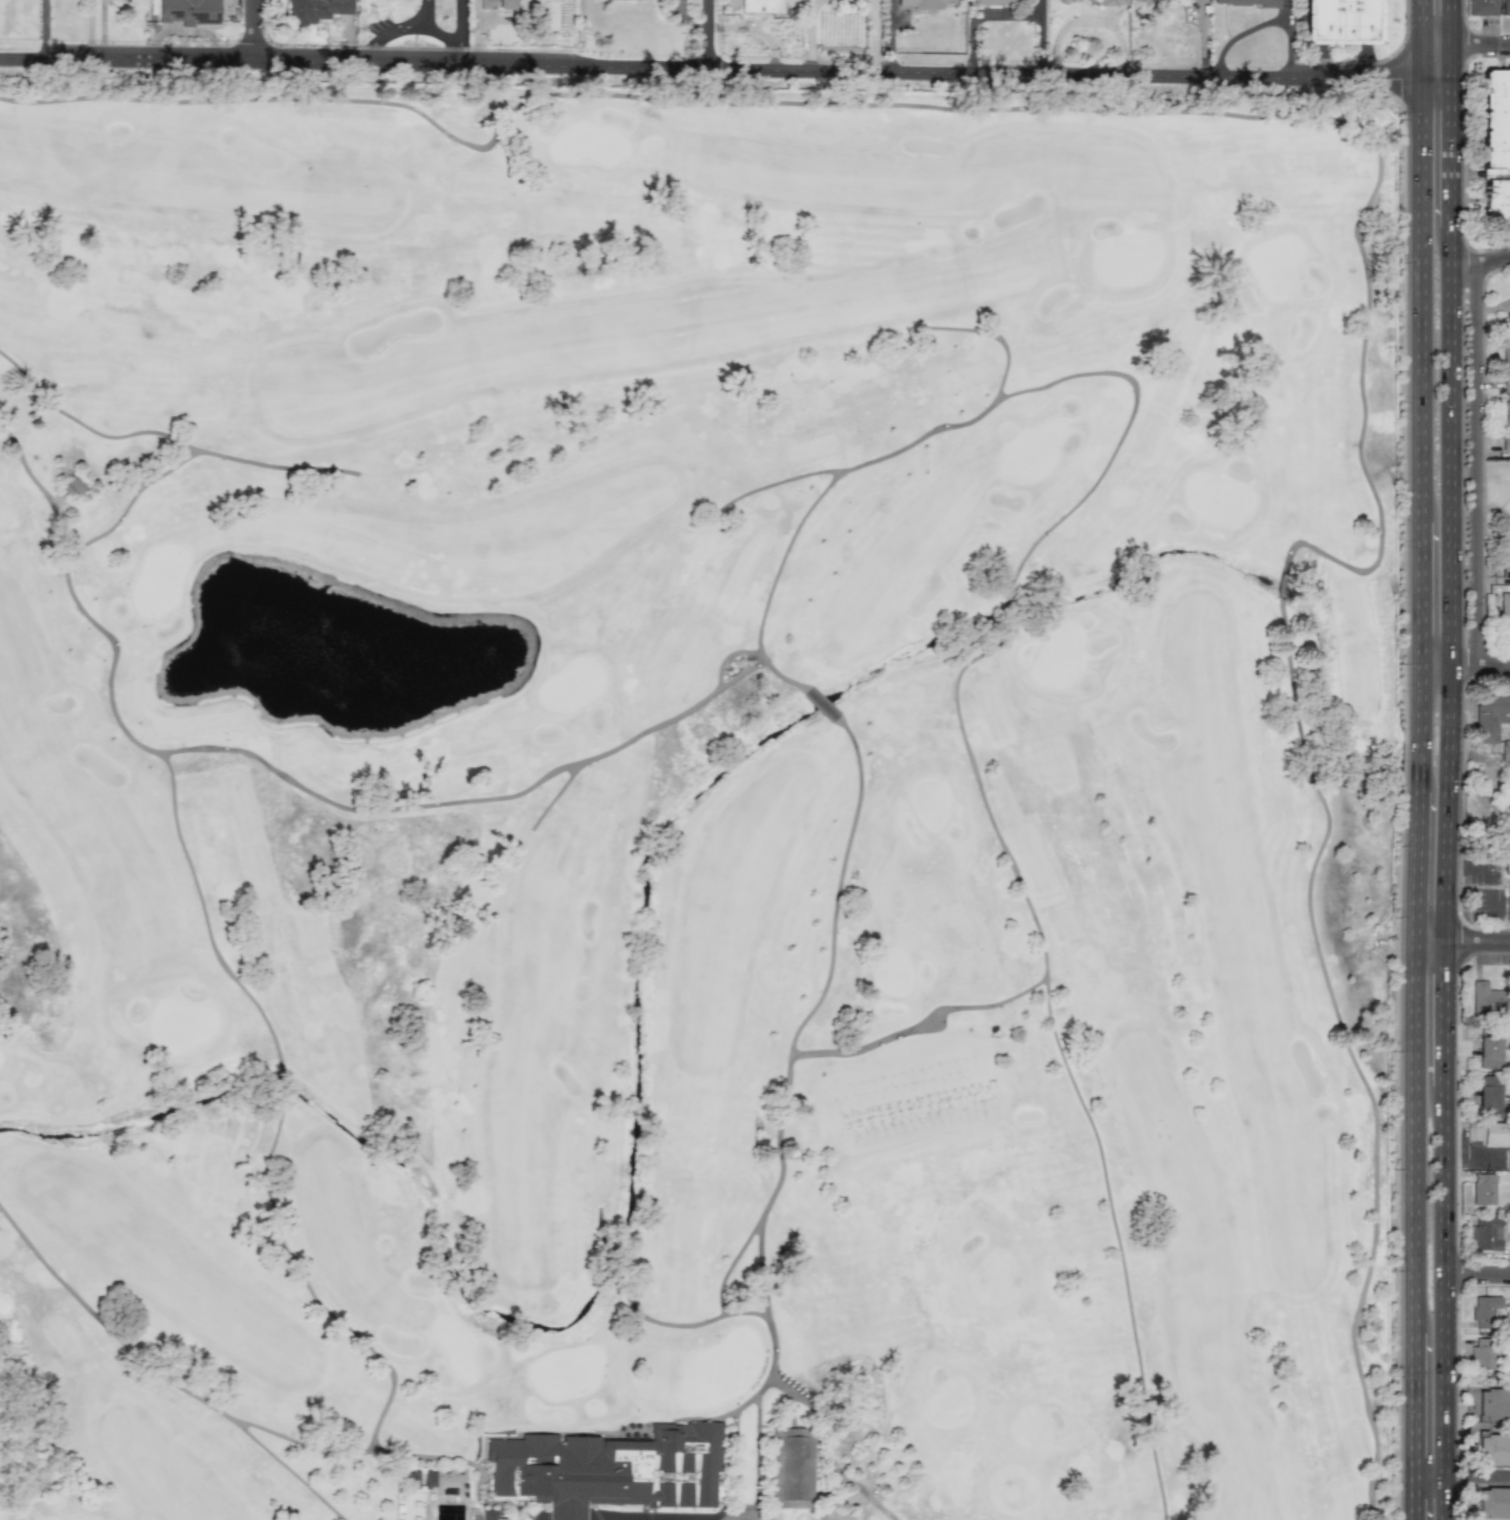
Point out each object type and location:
building: (1070, 0)
building: (1144, 1)
building: (994, 2)
building: (1112, 2)
building: (1250, 2)
building: (495, 3)
building: (924, 3)
building: (761, 6)
building: (1481, 7)
building: (1505, 7)
building: (315, 10)
building: (189, 11)
road: (1418, 20)
road: (1453, 20)
road: (460, 21)
building: (1341, 21)
road: (1264, 23)
road: (407, 26)
road: (44, 30)
road: (252, 32)
road: (810, 34)
road: (709, 35)
road: (875, 35)
road: (1436, 40)
road: (1481, 40)
road: (1323, 51)
road: (460, 54)
road: (371, 55)
road: (1452, 58)
road: (725, 70)
road: (472, 145)
building: (1495, 145)
road: (1452, 152)
road: (1375, 187)
road: (1481, 260)
road: (1417, 279)
building: (1507, 317)
road: (989, 334)
building: (1506, 363)
road: (982, 413)
building: (1509, 428)
road: (165, 435)
road: (1453, 445)
road: (1473, 463)
road: (775, 482)
building: (72, 485)
road: (130, 501)
road: (685, 516)
building: (1505, 553)
road: (1417, 592)
road: (73, 597)
building: (1505, 611)
road: (727, 655)
road: (1435, 664)
road: (1463, 664)
road: (1492, 664)
road: (722, 684)
building: (1491, 713)
road: (1415, 728)
road: (595, 756)
road: (1450, 802)
park: (700, 803)
road: (366, 810)
building: (1507, 864)
road: (1412, 866)
road: (839, 880)
building: (1508, 889)
road: (204, 915)
road: (1429, 941)
road: (1478, 941)
building: (1490, 999)
road: (1447, 1014)
building: (1489, 1051)
road: (790, 1054)
road: (1062, 1056)
road: (1351, 1056)
building: (1489, 1096)
road: (1410, 1136)
building: (1498, 1137)
building: (1482, 1189)
building: (1485, 1235)
road: (730, 1262)
road: (1478, 1271)
road: (306, 1282)
road: (1446, 1303)
building: (1484, 1311)
road: (730, 1312)
building: (1482, 1354)
road: (161, 1376)
building: (1493, 1405)
road: (1410, 1426)
road: (827, 1436)
road: (758, 1448)
building: (1493, 1450)
road: (396, 1453)
road: (735, 1458)
building: (790, 1468)
building: (627, 1469)
road: (1460, 1475)
building: (421, 1479)
road: (862, 1490)
building: (1493, 1503)
parking lot: (651, 1514)
building: (493, 1515)

